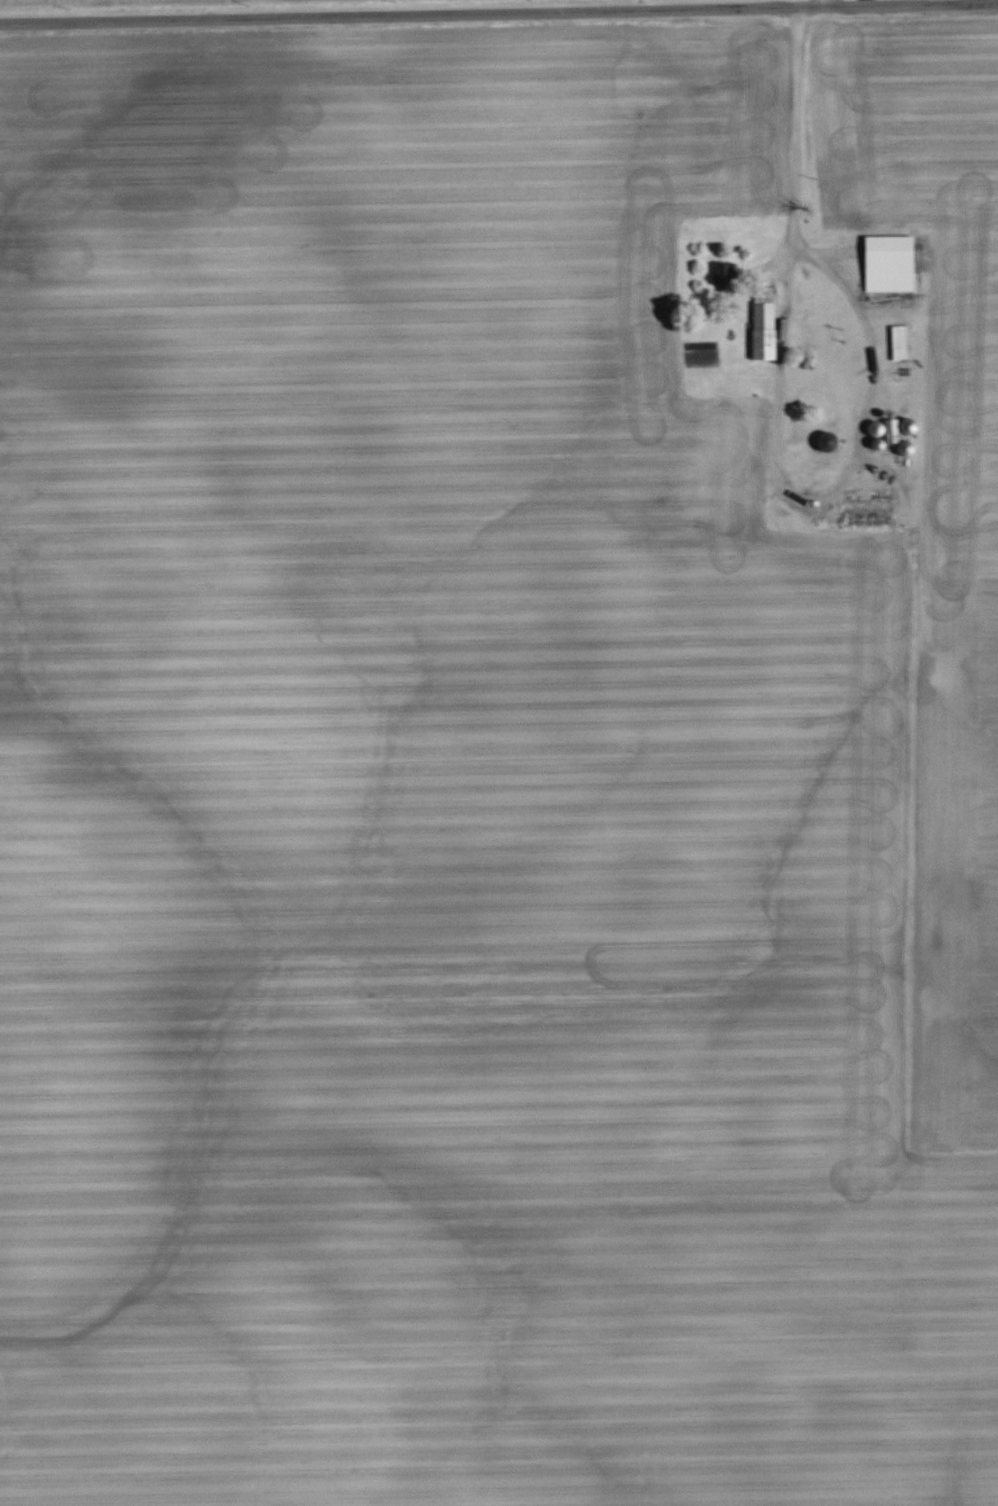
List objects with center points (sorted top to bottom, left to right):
road: (498, 12)
road: (801, 143)
building: (889, 266)
building: (723, 275)
road: (867, 322)
building: (764, 323)
building: (900, 341)
road: (785, 345)
silo: (908, 424)
silo: (876, 427)
building: (893, 432)
silo: (827, 441)
silo: (878, 443)
silo: (906, 447)
building: (870, 497)
road: (795, 504)

